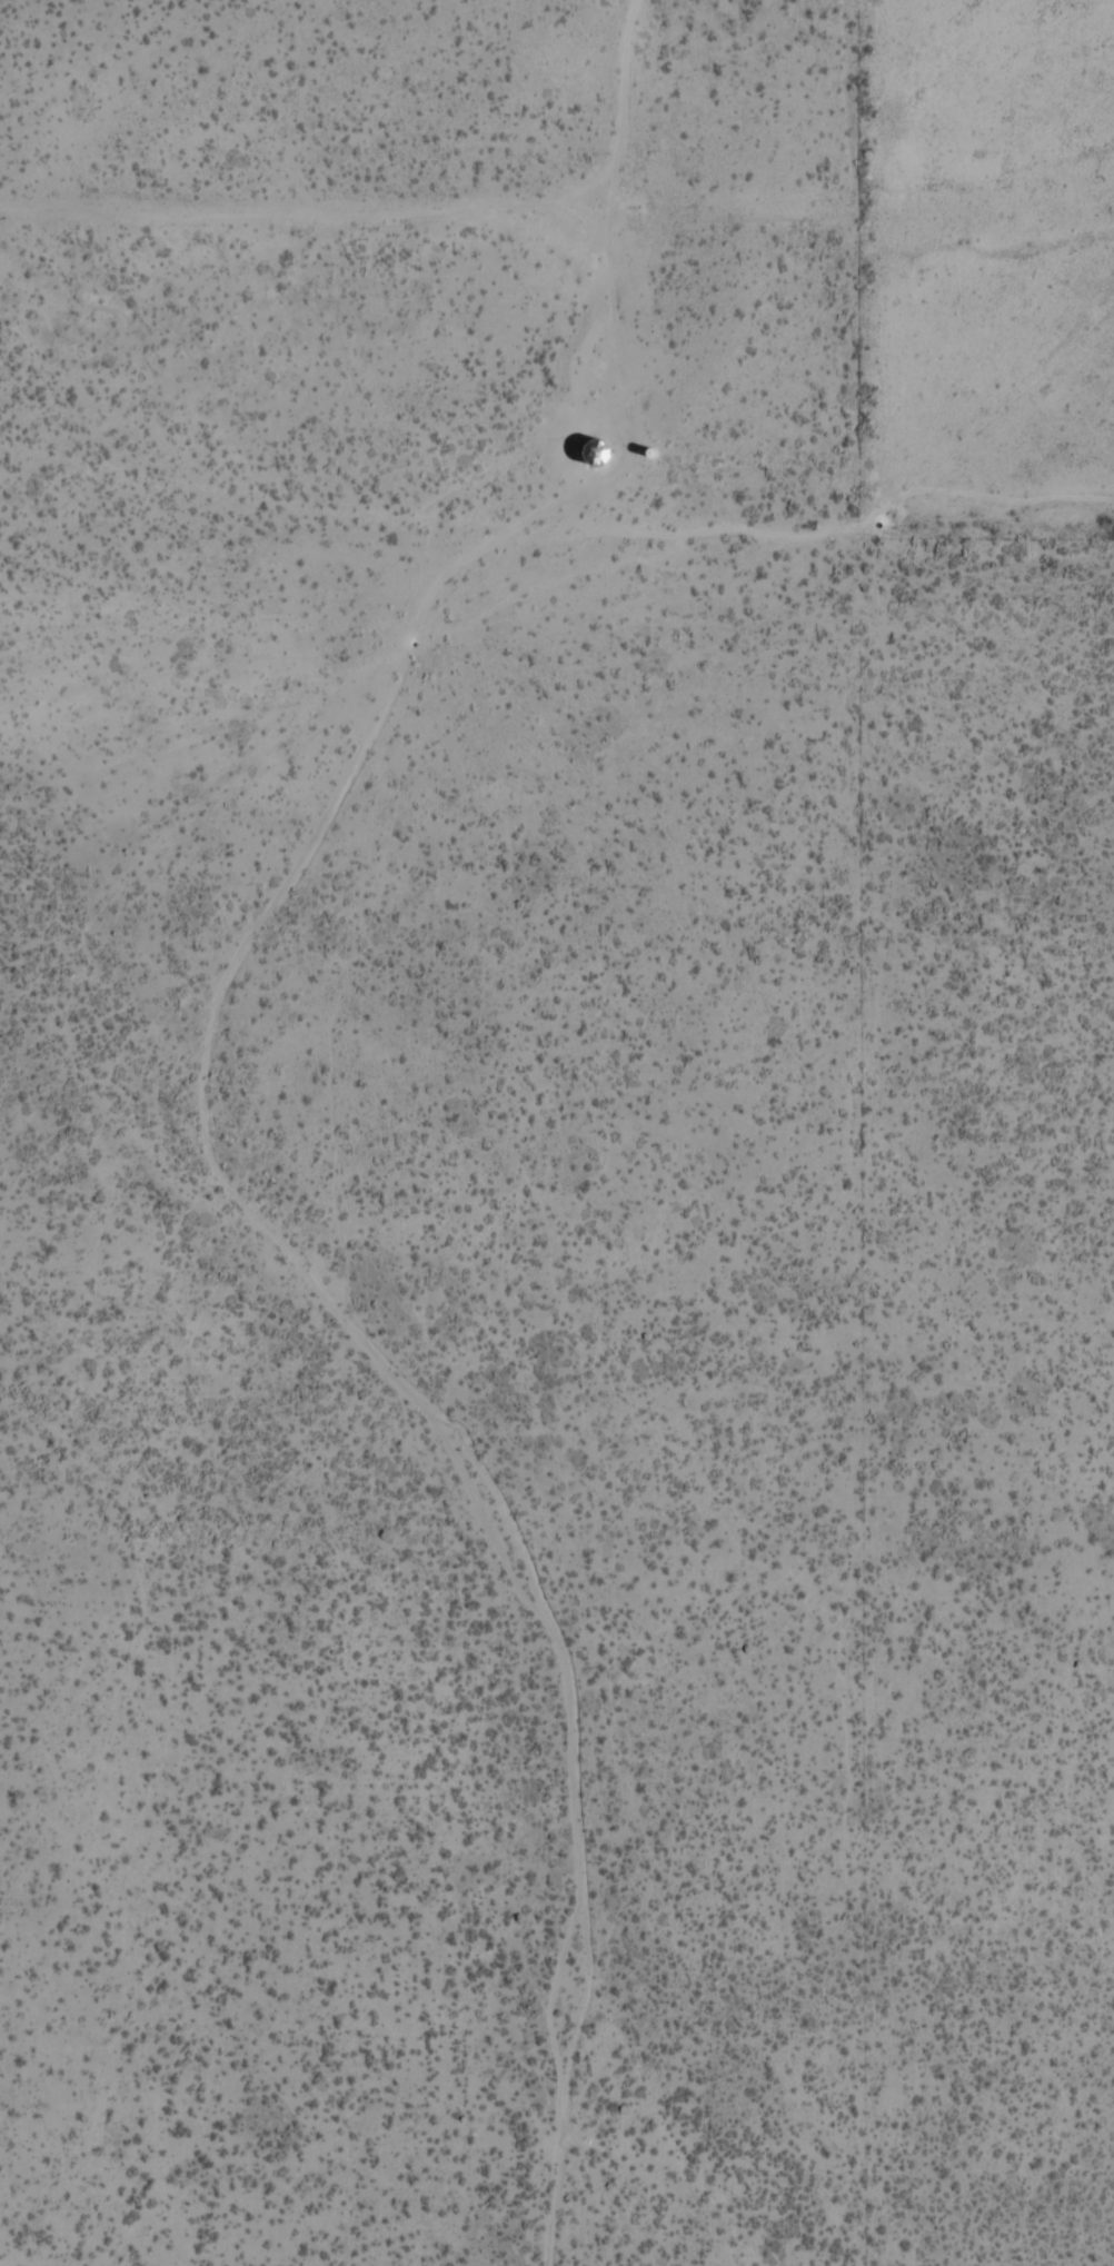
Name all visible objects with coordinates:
building: (609, 438)
storage tank: (609, 438)

